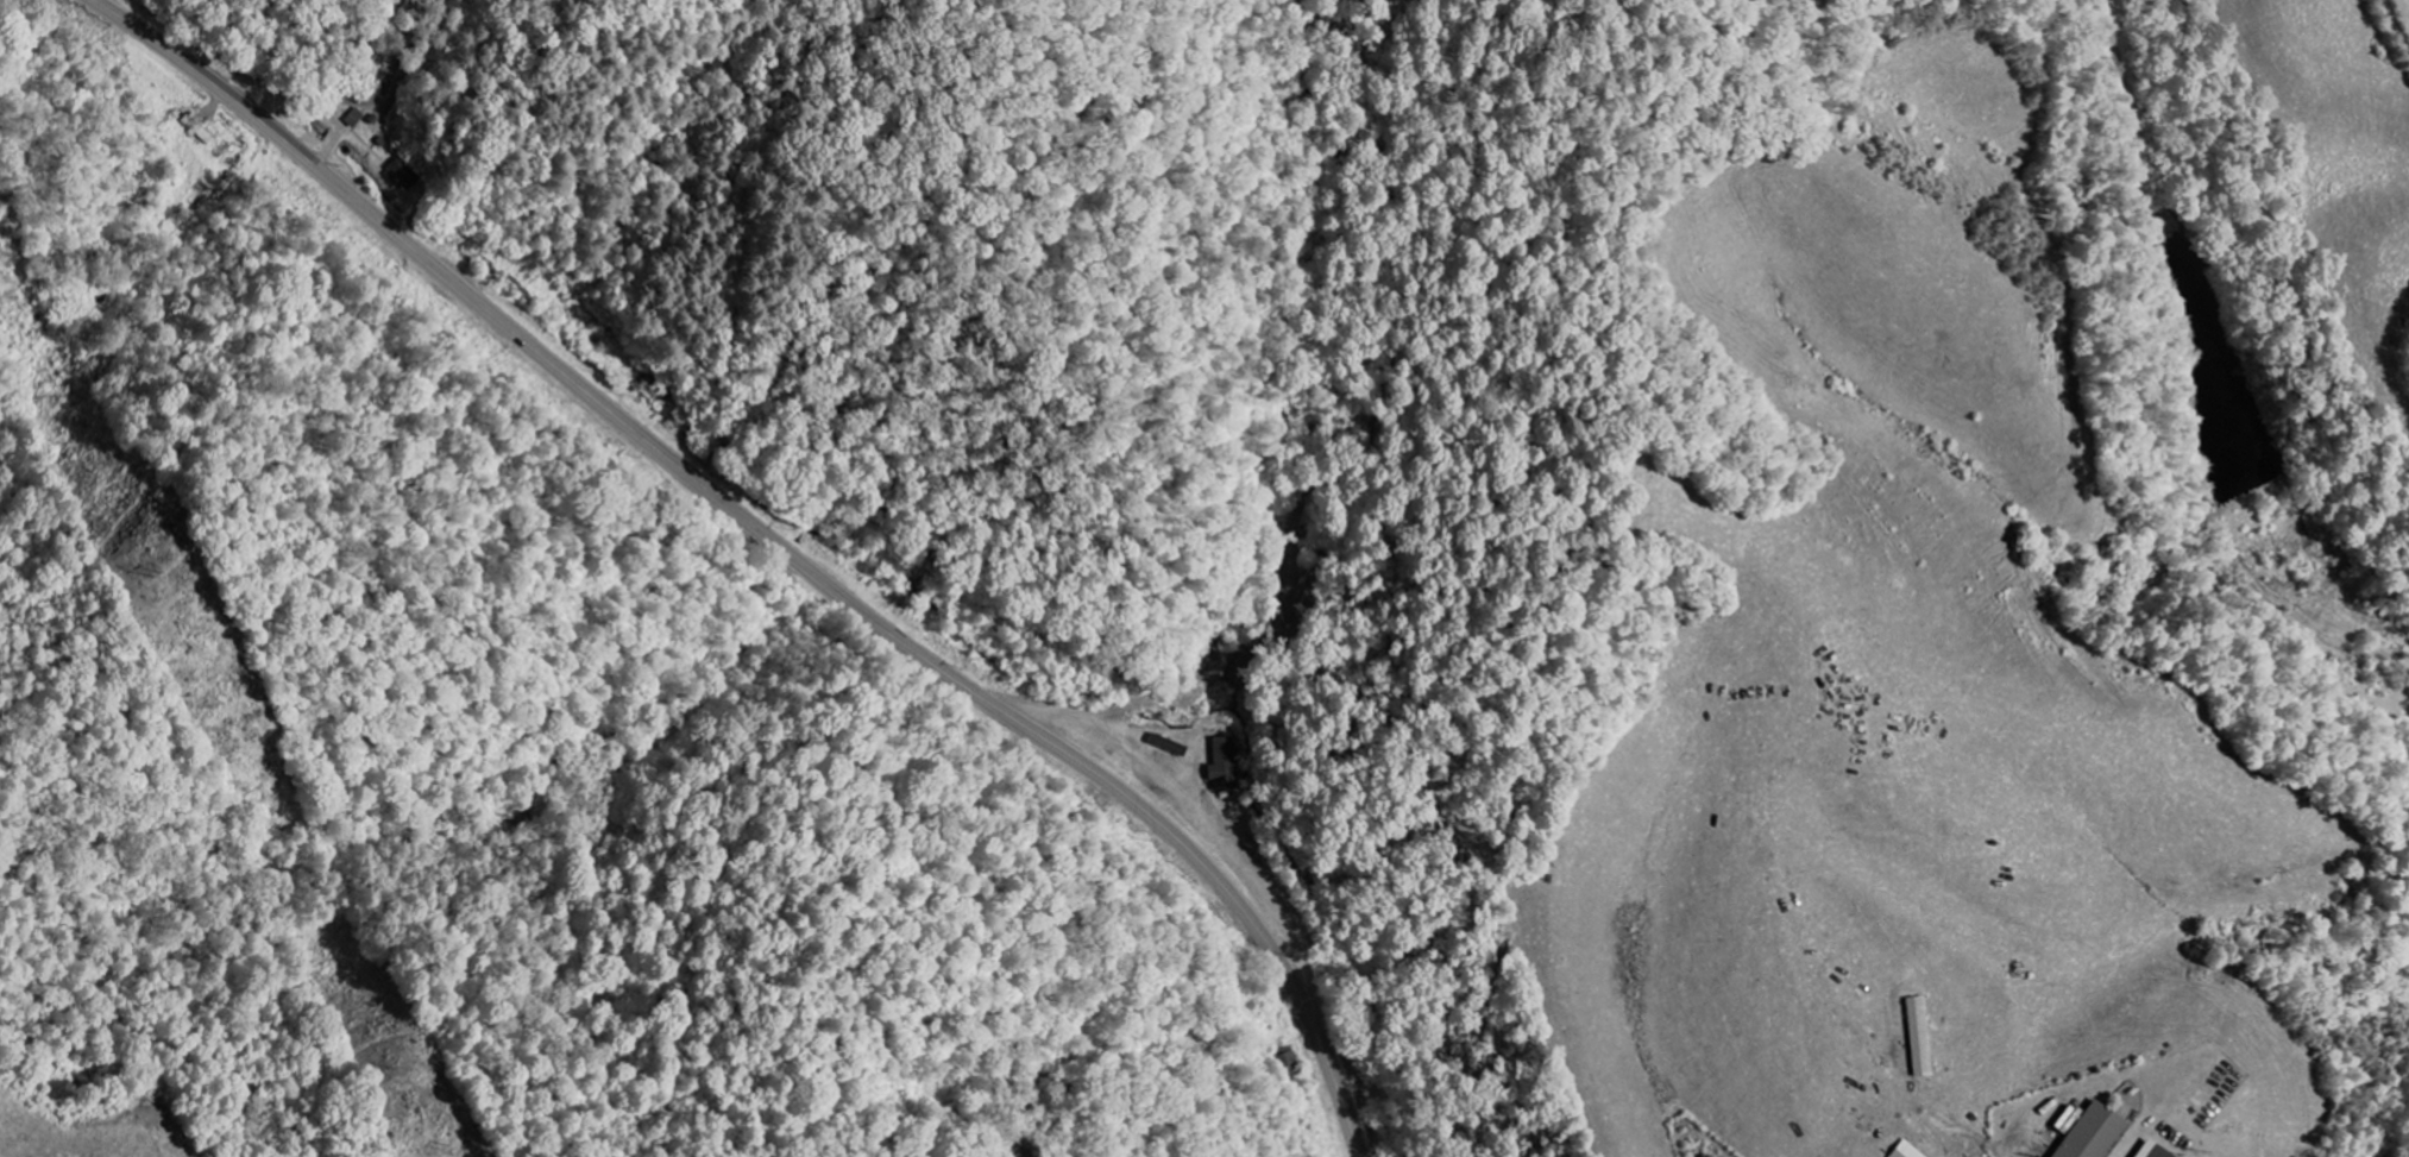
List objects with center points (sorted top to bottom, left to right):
road: (2397, 23)
road: (776, 542)
building: (1919, 1037)
building: (2094, 1133)
building: (1904, 1150)
building: (2150, 1151)

